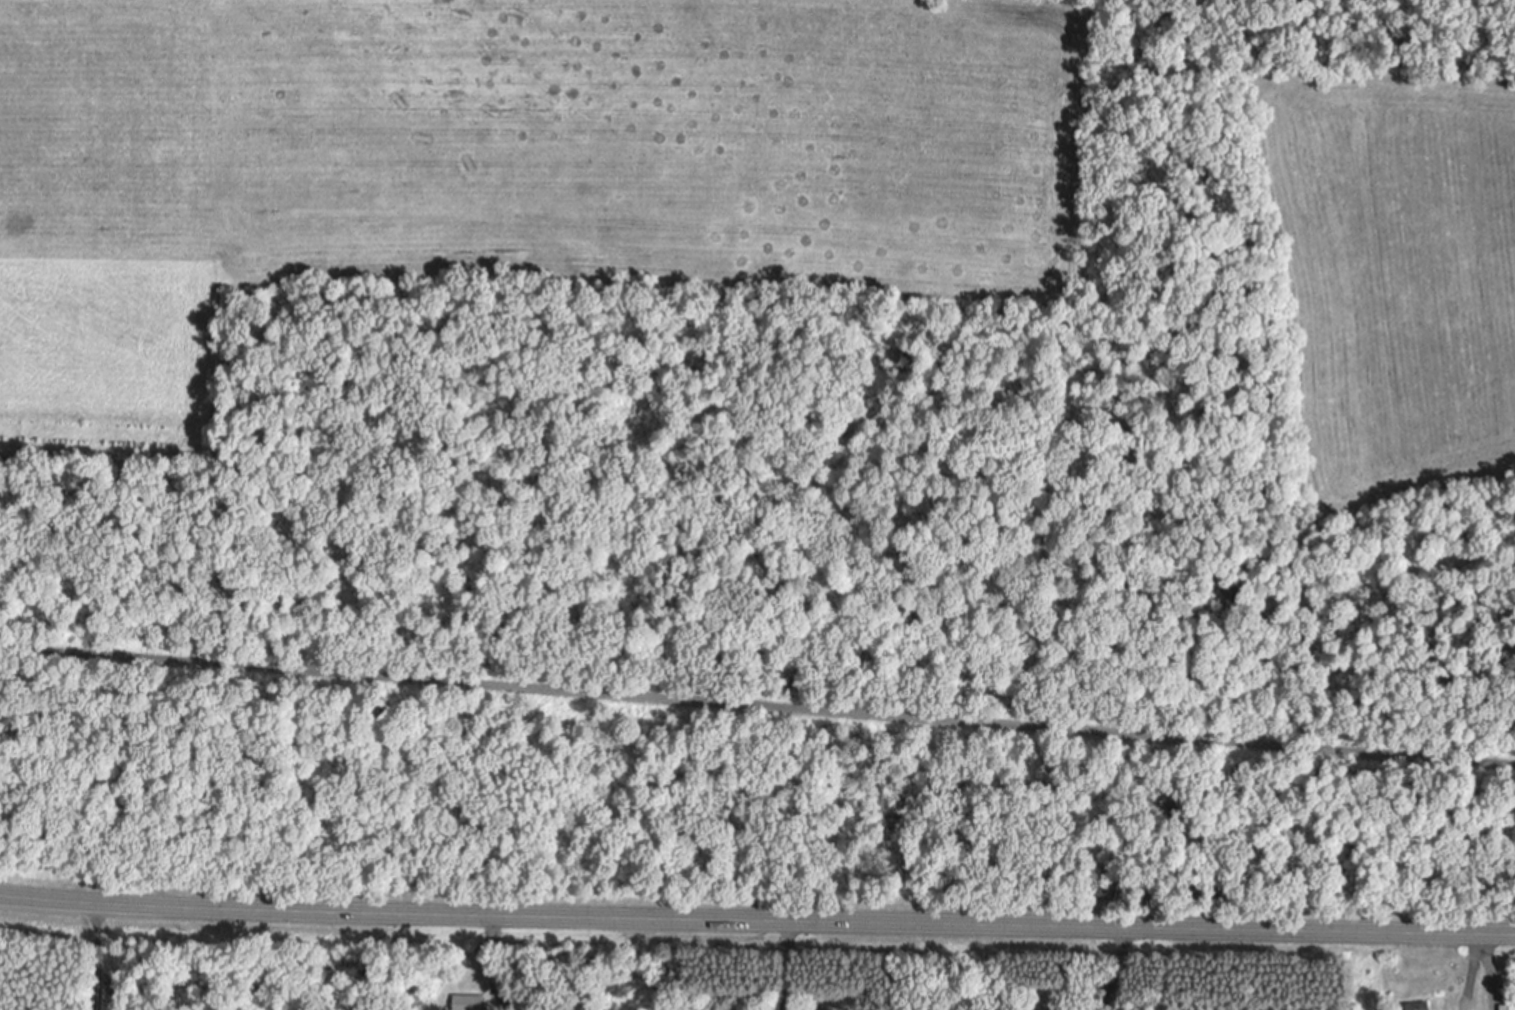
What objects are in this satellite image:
road: (757, 709)
road: (757, 923)
road: (788, 967)
road: (1489, 972)
building: (469, 1003)
building: (1421, 1006)
building: (1507, 1007)

